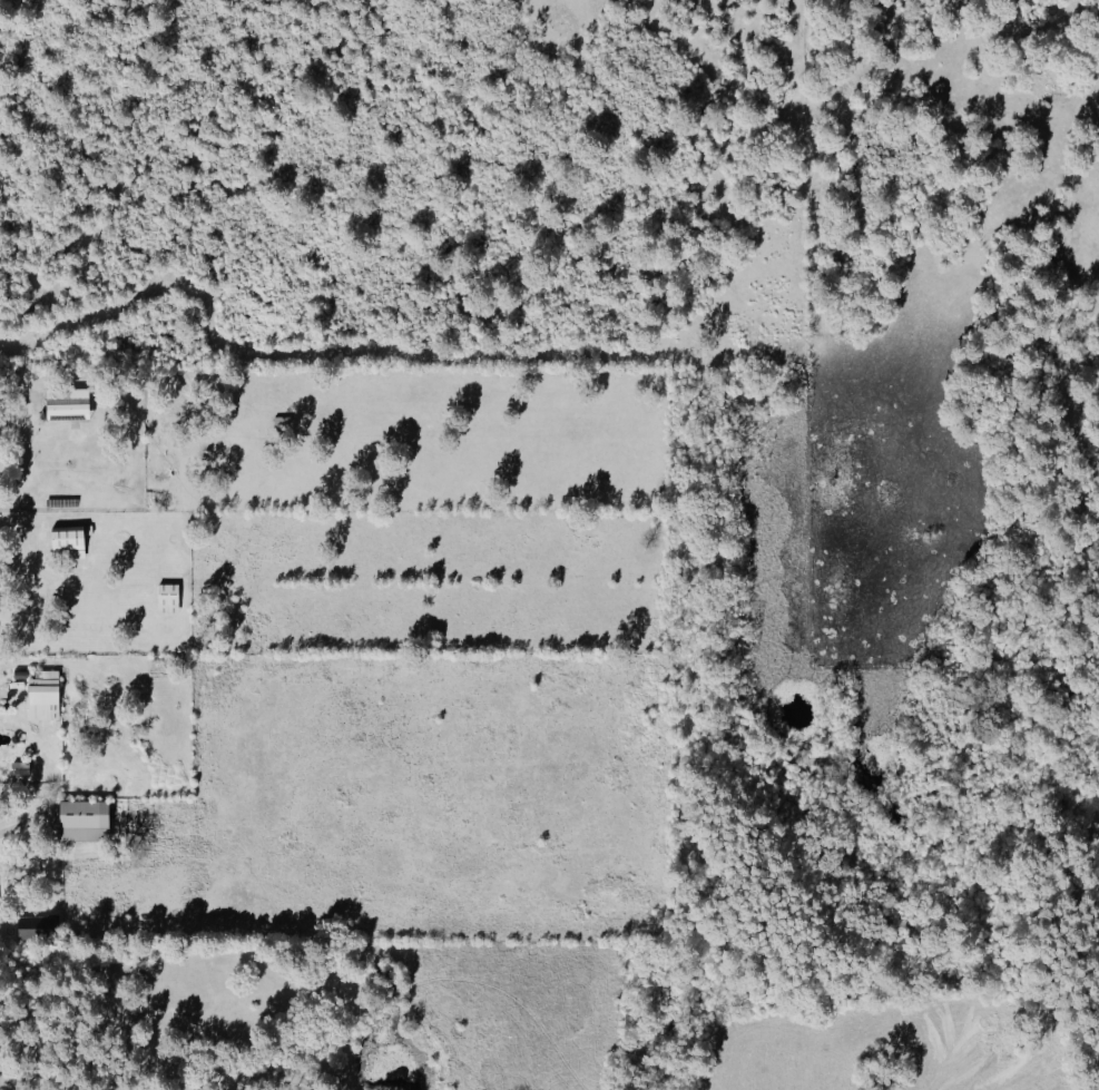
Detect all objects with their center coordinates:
building: (69, 405)
building: (68, 543)
building: (45, 695)
building: (85, 819)
building: (40, 926)

